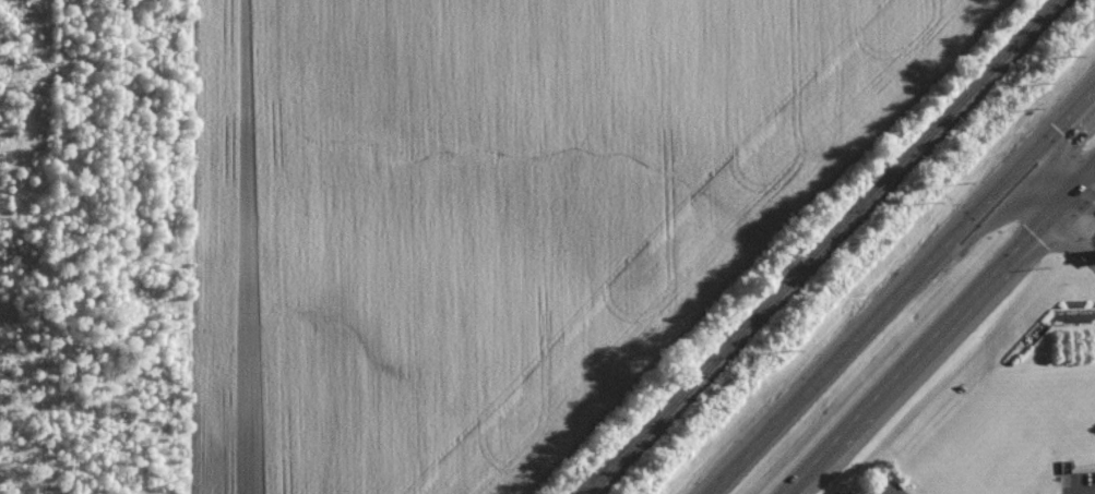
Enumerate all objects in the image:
traffic signals: (1064, 125)
road: (1063, 166)
road: (1094, 173)
road: (1094, 174)
road: (1045, 185)
road: (1075, 194)
road: (1075, 232)
traffic signals: (1035, 237)
railway: (831, 246)
road: (903, 292)
road: (920, 353)

